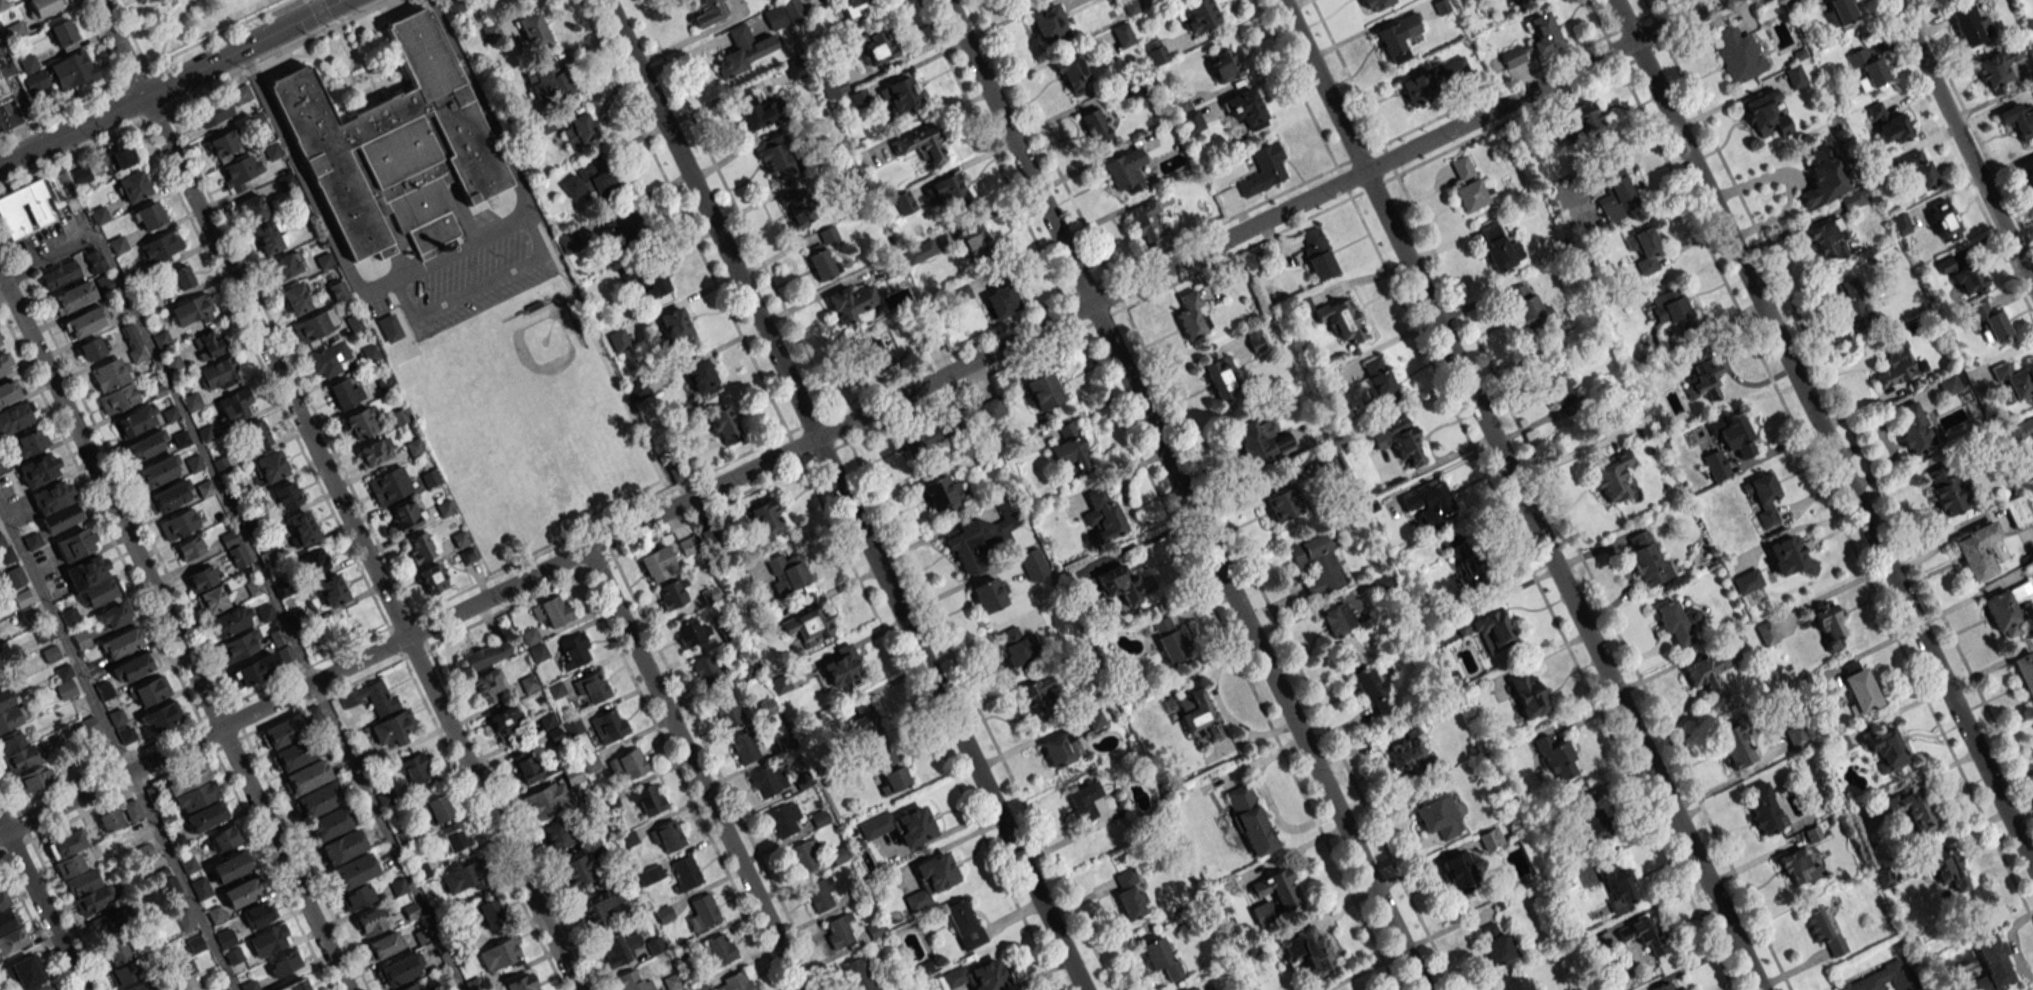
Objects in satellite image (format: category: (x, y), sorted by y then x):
building: (1525, 2)
building: (3, 4)
building: (1377, 5)
building: (42, 7)
building: (856, 7)
building: (708, 12)
building: (1840, 13)
road: (319, 14)
building: (783, 14)
building: (1198, 15)
building: (1049, 22)
building: (1968, 26)
building: (532, 29)
building: (15, 30)
building: (62, 32)
road: (215, 33)
building: (1122, 35)
building: (1543, 36)
building: (1397, 39)
road: (2, 45)
building: (878, 45)
road: (120, 48)
road: (242, 48)
building: (745, 50)
building: (1156, 52)
road: (273, 53)
building: (1736, 54)
building: (1513, 57)
building: (1223, 65)
building: (794, 68)
building: (1996, 68)
building: (1867, 69)
building: (73, 70)
road: (133, 71)
building: (32, 73)
building: (1074, 75)
building: (6, 76)
building: (1795, 76)
building: (548, 81)
building: (833, 86)
building: (2032, 90)
building: (1420, 92)
building: (241, 94)
building: (901, 97)
road: (60, 107)
building: (1246, 109)
building: (755, 111)
building: (214, 112)
road: (153, 114)
building: (1765, 115)
building: (2018, 119)
building: (1192, 122)
building: (1586, 122)
building: (1095, 125)
building: (1888, 125)
road: (72, 130)
building: (578, 130)
building: (224, 143)
building: (921, 145)
building: (393, 147)
road: (1962, 149)
building: (271, 151)
road: (71, 153)
building: (121, 157)
building: (777, 158)
building: (1462, 167)
building: (1124, 170)
building: (1264, 170)
building: (1917, 170)
building: (2028, 171)
building: (239, 172)
building: (1823, 177)
building: (590, 183)
building: (133, 186)
building: (1611, 191)
building: (948, 192)
building: (1471, 195)
building: (1853, 199)
building: (903, 202)
building: (35, 204)
building: (253, 208)
building: (796, 209)
building: (99, 215)
building: (149, 216)
building: (1943, 220)
building: (1147, 223)
building: (1901, 223)
building: (623, 227)
building: (268, 237)
building: (1827, 238)
building: (974, 241)
building: (570, 244)
building: (1499, 247)
building: (160, 248)
building: (1645, 250)
building: (1317, 254)
building: (93, 256)
building: (822, 263)
building: (285, 265)
building: (627, 274)
building: (59, 275)
building: (181, 278)
building: (1970, 281)
building: (654, 283)
road: (4, 294)
building: (73, 297)
building: (298, 298)
road: (444, 301)
building: (1001, 301)
building: (851, 302)
building: (1855, 306)
building: (1671, 307)
building: (1528, 308)
building: (191, 310)
building: (1191, 316)
building: (1341, 319)
building: (84, 322)
building: (1990, 322)
building: (674, 325)
building: (314, 326)
building: (389, 327)
building: (130, 335)
building: (1254, 339)
building: (619, 340)
building: (0, 343)
building: (208, 344)
building: (90, 349)
building: (874, 353)
building: (328, 360)
building: (1895, 361)
building: (5, 363)
building: (218, 374)
building: (1703, 375)
building: (701, 376)
building: (1220, 378)
building: (2012, 382)
building: (1379, 383)
building: (113, 385)
building: (1559, 385)
building: (9, 391)
building: (1044, 391)
building: (345, 393)
building: (191, 401)
building: (235, 405)
road: (857, 417)
building: (16, 418)
building: (136, 420)
building: (359, 423)
building: (723, 426)
road: (1823, 430)
building: (1914, 430)
building: (2021, 431)
building: (258, 433)
building: (1736, 435)
building: (920, 439)
building: (1399, 440)
building: (1261, 442)
building: (29, 443)
building: (146, 445)
building: (1071, 451)
building: (374, 452)
building: (2, 465)
building: (1716, 465)
building: (269, 466)
building: (39, 470)
building: (157, 472)
building: (1614, 480)
building: (389, 485)
building: (1946, 489)
building: (943, 494)
building: (286, 495)
road: (843, 495)
road: (1184, 495)
road: (1521, 495)
building: (167, 498)
building: (1765, 498)
building: (1428, 503)
building: (1282, 504)
building: (56, 506)
building: (2017, 511)
building: (405, 516)
building: (1103, 516)
building: (766, 519)
building: (177, 525)
building: (301, 529)
building: (982, 537)
building: (459, 539)
road: (1142, 541)
building: (31, 542)
road: (360, 543)
building: (76, 544)
building: (422, 546)
building: (687, 546)
building: (190, 548)
building: (234, 549)
building: (1976, 550)
building: (467, 556)
building: (1788, 556)
building: (1647, 559)
building: (315, 561)
building: (1467, 562)
road: (256, 564)
building: (658, 564)
building: (1033, 564)
building: (1316, 564)
building: (787, 573)
building: (14, 577)
building: (202, 578)
building: (434, 578)
building: (92, 580)
building: (1747, 581)
building: (1124, 584)
building: (331, 590)
building: (673, 593)
building: (989, 594)
building: (709, 595)
building: (212, 600)
building: (553, 610)
building: (2007, 610)
building: (114, 616)
building: (1337, 619)
building: (232, 620)
building: (1677, 623)
building: (1828, 623)
building: (809, 626)
building: (1488, 629)
road: (173, 632)
building: (690, 632)
building: (1767, 633)
building: (530, 636)
building: (81, 639)
building: (1169, 639)
building: (120, 643)
building: (241, 646)
building: (1014, 647)
building: (575, 651)
building: (538, 652)
building: (486, 654)
building: (133, 667)
building: (840, 669)
building: (255, 670)
building: (707, 672)
building: (1708, 673)
building: (2025, 673)
building: (529, 683)
building: (487, 685)
building: (591, 687)
building: (1859, 688)
building: (150, 691)
building: (1372, 691)
building: (1528, 695)
building: (374, 696)
building: (1037, 697)
building: (8, 711)
building: (727, 712)
building: (1198, 713)
building: (161, 716)
building: (548, 720)
building: (1095, 720)
building: (503, 723)
building: (866, 723)
building: (609, 725)
building: (572, 726)
building: (393, 728)
building: (284, 731)
building: (1796, 736)
building: (1734, 745)
road: (118, 747)
building: (745, 747)
building: (1059, 749)
building: (1885, 749)
building: (16, 752)
building: (295, 754)
building: (1408, 757)
building: (1556, 758)
building: (628, 764)
building: (528, 766)
building: (414, 769)
road: (694, 770)
building: (891, 772)
building: (308, 776)
building: (32, 779)
building: (767, 782)
building: (192, 787)
building: (318, 800)
building: (647, 800)
building: (546, 801)
building: (1084, 801)
building: (437, 809)
building: (132, 810)
building: (1764, 810)
building: (1911, 810)
building: (206, 816)
building: (1439, 817)
building: (783, 819)
building: (1588, 819)
building: (111, 820)
building: (1250, 820)
building: (330, 823)
building: (901, 826)
building: (373, 832)
building: (556, 835)
building: (666, 836)
building: (223, 839)
building: (1491, 839)
building: (453, 840)
building: (177, 842)
building: (343, 847)
building: (147, 852)
building: (803, 855)
building: (189, 864)
building: (230, 867)
building: (1798, 868)
building: (1946, 868)
building: (353, 871)
building: (576, 871)
building: (1459, 871)
building: (78, 873)
building: (686, 874)
building: (1882, 877)
building: (462, 878)
building: (931, 879)
building: (167, 882)
building: (1616, 885)
building: (201, 888)
building: (1278, 890)
building: (243, 891)
building: (819, 894)
building: (1129, 895)
building: (356, 897)
building: (601, 904)
road: (40, 906)
building: (703, 912)
building: (259, 914)
building: (491, 914)
building: (6, 918)
building: (116, 919)
building: (184, 919)
building: (371, 922)
building: (964, 924)
building: (838, 930)
building: (1824, 930)
building: (1642, 937)
building: (225, 938)
building: (13, 940)
building: (268, 940)
building: (195, 944)
building: (1495, 944)
building: (383, 945)
building: (619, 948)
building: (719, 949)
building: (122, 951)
building: (1309, 951)
building: (502, 954)
building: (233, 955)
building: (1160, 957)
building: (283, 963)
building: (1992, 964)
building: (400, 970)
building: (126, 972)
building: (859, 975)
building: (979, 976)
building: (635, 980)
building: (734, 982)
building: (1868, 982)
building: (520, 984)
building: (1517, 984)
building: (148, 985)
building: (296, 986)
building: (413, 986)
building: (1665, 987)
building: (1682, 988)
building: (1196, 989)

